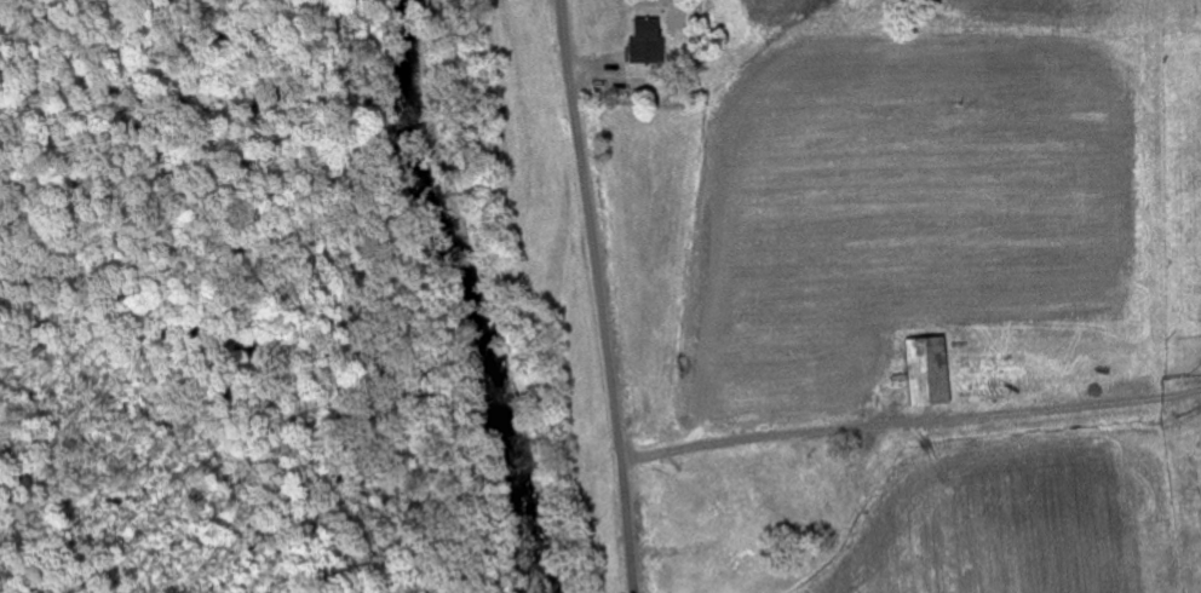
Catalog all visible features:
building: (650, 41)
road: (600, 295)
building: (935, 372)

